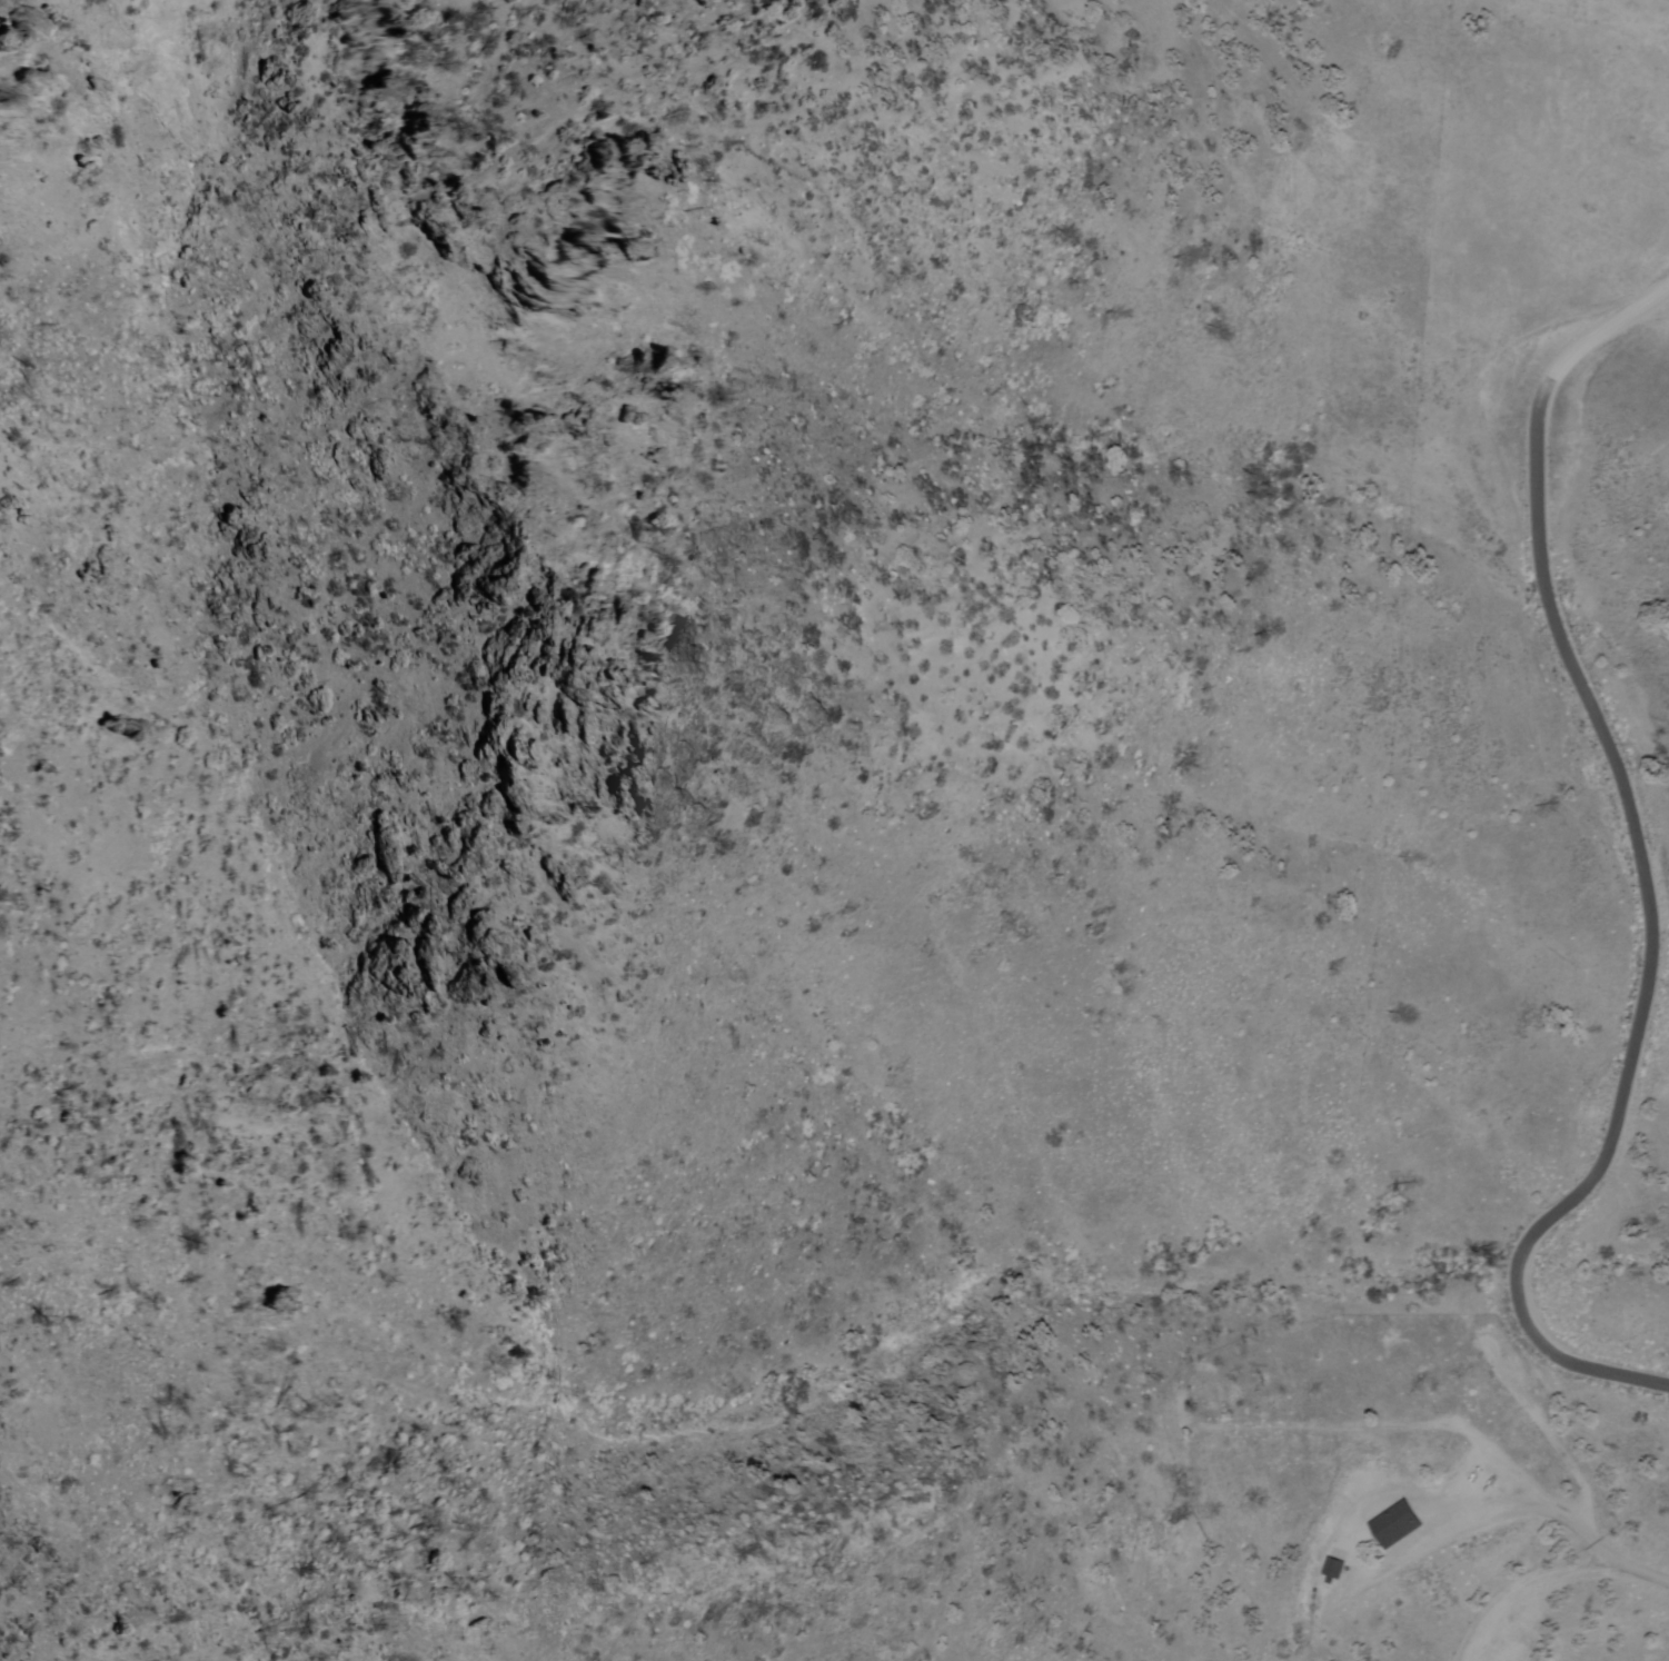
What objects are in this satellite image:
road: (1537, 1455)
building: (1382, 1521)

